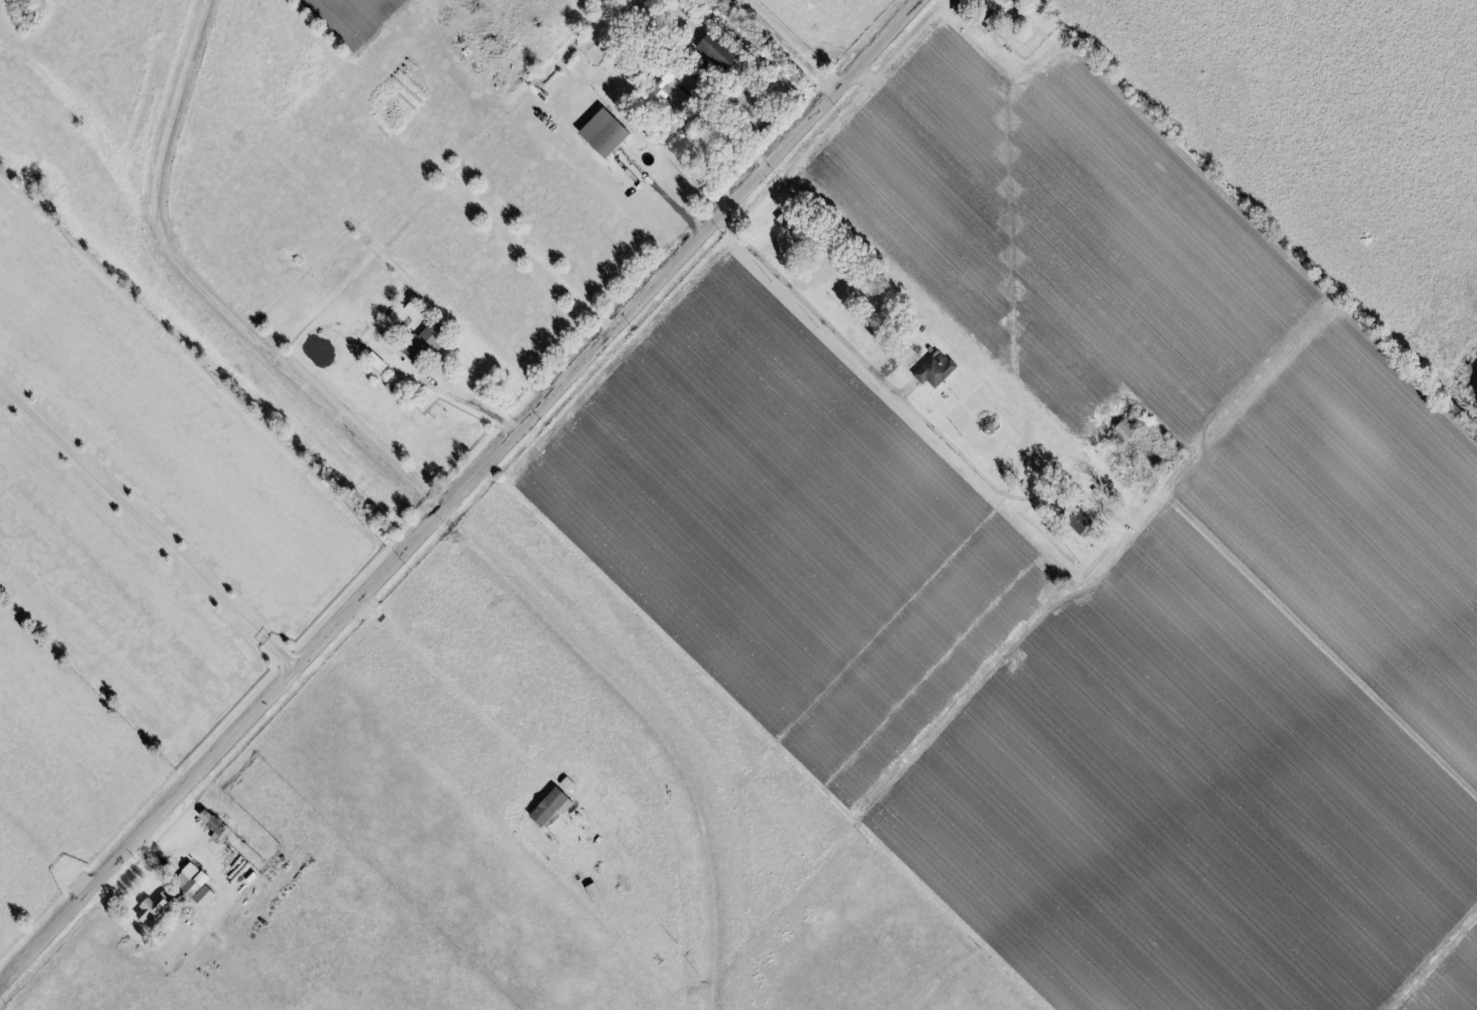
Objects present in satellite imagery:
building: (1002, 4)
building: (720, 51)
building: (607, 133)
road: (726, 134)
building: (789, 228)
building: (403, 313)
building: (427, 341)
road: (855, 354)
building: (936, 369)
building: (394, 384)
road: (471, 406)
road: (1042, 494)
road: (462, 498)
building: (1080, 525)
road: (148, 530)
road: (448, 689)
building: (553, 806)
building: (214, 822)
building: (198, 884)
building: (156, 906)

